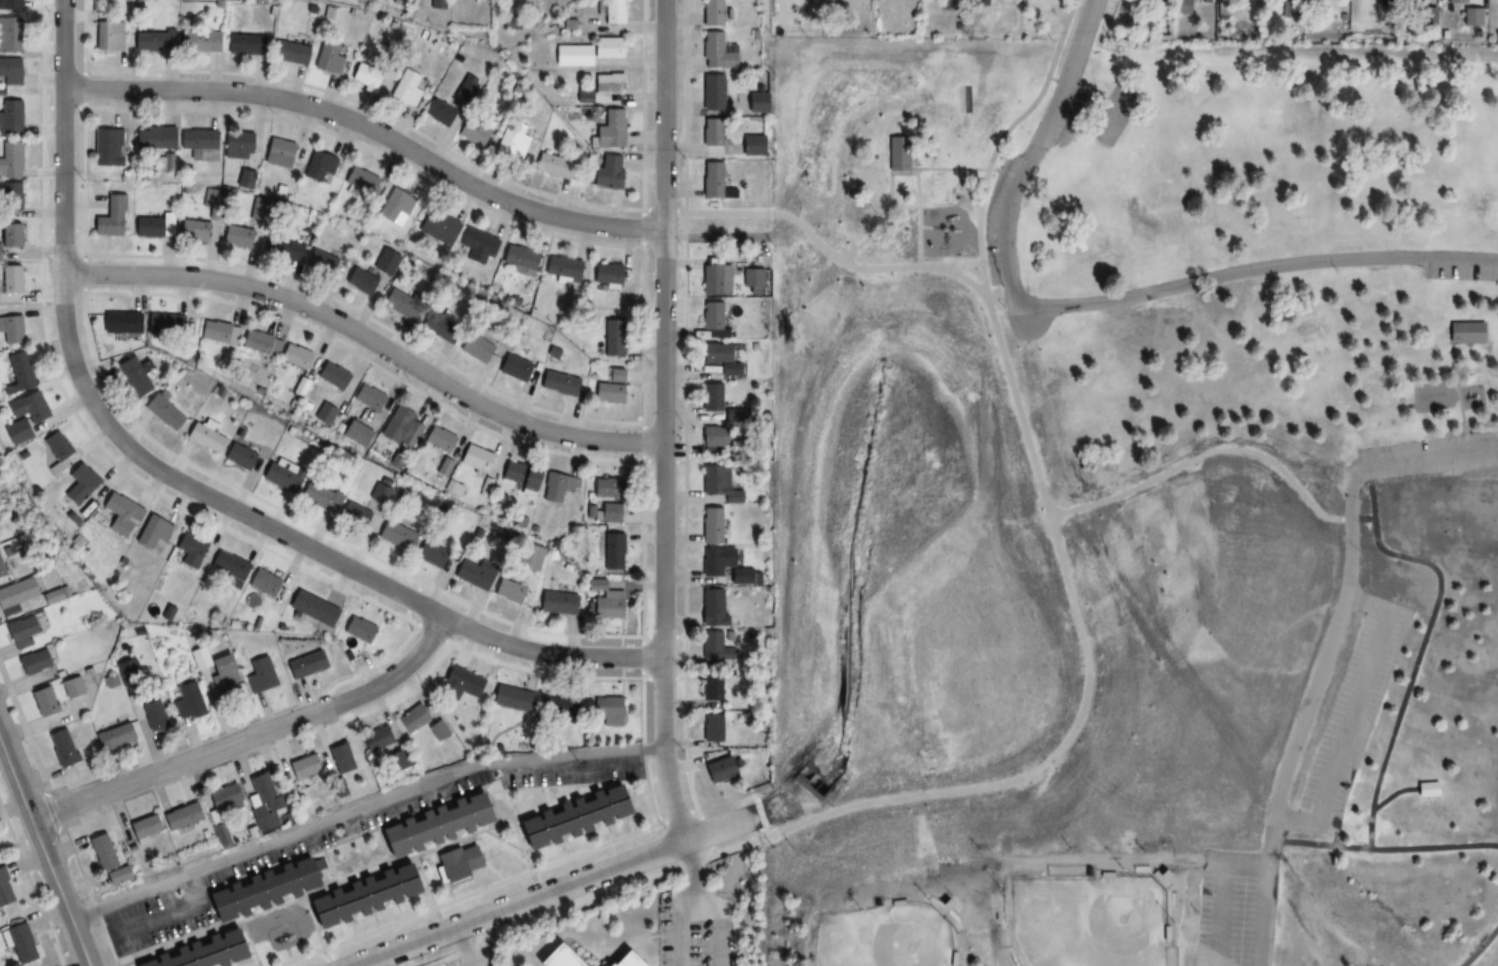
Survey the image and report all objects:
building: (1456, 2)
building: (10, 5)
building: (610, 12)
building: (709, 13)
building: (1471, 17)
building: (10, 35)
building: (106, 37)
building: (151, 40)
building: (196, 42)
building: (242, 45)
building: (605, 49)
building: (715, 52)
building: (289, 54)
building: (571, 56)
building: (327, 58)
building: (9, 73)
building: (367, 74)
road: (1075, 88)
building: (406, 89)
building: (599, 90)
building: (709, 93)
building: (965, 99)
building: (437, 113)
building: (9, 118)
building: (606, 129)
building: (472, 131)
building: (709, 137)
building: (152, 140)
building: (195, 141)
building: (237, 147)
building: (105, 148)
building: (278, 151)
road: (415, 153)
building: (895, 157)
building: (9, 161)
building: (318, 167)
building: (551, 167)
road: (957, 170)
building: (606, 172)
building: (359, 181)
building: (712, 183)
building: (9, 197)
road: (838, 198)
building: (211, 199)
building: (395, 206)
road: (918, 215)
building: (109, 218)
parking lot: (997, 220)
building: (152, 227)
building: (438, 228)
building: (191, 231)
building: (9, 236)
building: (237, 237)
building: (476, 247)
building: (281, 249)
building: (519, 260)
building: (320, 263)
building: (383, 263)
road: (1255, 268)
building: (563, 270)
parking lot: (1462, 275)
building: (607, 276)
building: (10, 280)
building: (358, 282)
building: (400, 303)
building: (710, 317)
building: (437, 322)
building: (121, 323)
building: (164, 326)
building: (11, 331)
building: (217, 333)
building: (1468, 333)
road: (369, 339)
building: (611, 343)
building: (258, 344)
building: (474, 349)
building: (294, 357)
building: (719, 359)
building: (514, 369)
building: (18, 373)
building: (134, 376)
building: (332, 377)
building: (558, 385)
road: (1458, 388)
building: (606, 393)
building: (710, 398)
building: (367, 399)
building: (161, 414)
building: (325, 415)
building: (24, 418)
road: (665, 420)
building: (400, 430)
building: (356, 435)
building: (203, 436)
building: (712, 440)
building: (439, 441)
parking lot: (1426, 447)
building: (55, 451)
building: (238, 458)
building: (476, 459)
road: (1189, 467)
road: (1425, 468)
building: (280, 476)
building: (519, 477)
building: (720, 478)
road: (178, 481)
building: (77, 487)
building: (559, 488)
building: (605, 488)
building: (377, 496)
building: (318, 498)
park: (1130, 501)
building: (608, 513)
building: (120, 515)
building: (354, 519)
building: (715, 524)
building: (151, 533)
building: (394, 538)
building: (189, 551)
building: (612, 551)
building: (429, 556)
building: (722, 559)
building: (4, 565)
building: (228, 567)
building: (471, 576)
building: (262, 584)
road: (1100, 588)
building: (508, 593)
building: (20, 595)
building: (557, 603)
building: (605, 604)
building: (717, 606)
building: (312, 609)
building: (358, 630)
building: (27, 631)
road: (1423, 644)
building: (714, 647)
building: (35, 661)
building: (305, 665)
building: (125, 666)
building: (215, 674)
building: (258, 675)
building: (459, 684)
building: (70, 687)
building: (710, 690)
building: (511, 698)
building: (43, 701)
building: (184, 701)
building: (557, 706)
building: (606, 710)
building: (152, 714)
building: (412, 718)
road: (1350, 718)
parking lot: (1353, 719)
building: (711, 728)
building: (436, 729)
road: (250, 735)
building: (112, 737)
building: (373, 739)
park: (1191, 744)
building: (60, 747)
building: (338, 757)
building: (299, 767)
building: (717, 770)
building: (1426, 790)
road: (1392, 793)
building: (221, 798)
building: (261, 800)
road: (848, 806)
road: (362, 809)
building: (179, 816)
building: (569, 818)
building: (432, 825)
building: (142, 826)
road: (1357, 827)
building: (219, 834)
parking lot: (340, 837)
road: (1353, 838)
road: (44, 850)
building: (99, 851)
building: (457, 861)
building: (256, 888)
road: (548, 890)
road: (1222, 892)
building: (3, 893)
building: (359, 895)
road: (693, 905)
parking lot: (1237, 907)
road: (941, 915)
park: (1086, 921)
road: (720, 925)
parking lot: (696, 927)
road: (638, 940)
building: (16, 943)
park: (875, 945)
road: (1482, 946)
road: (1177, 948)
building: (198, 952)
parking lot: (472, 957)
building: (553, 957)
building: (619, 959)

